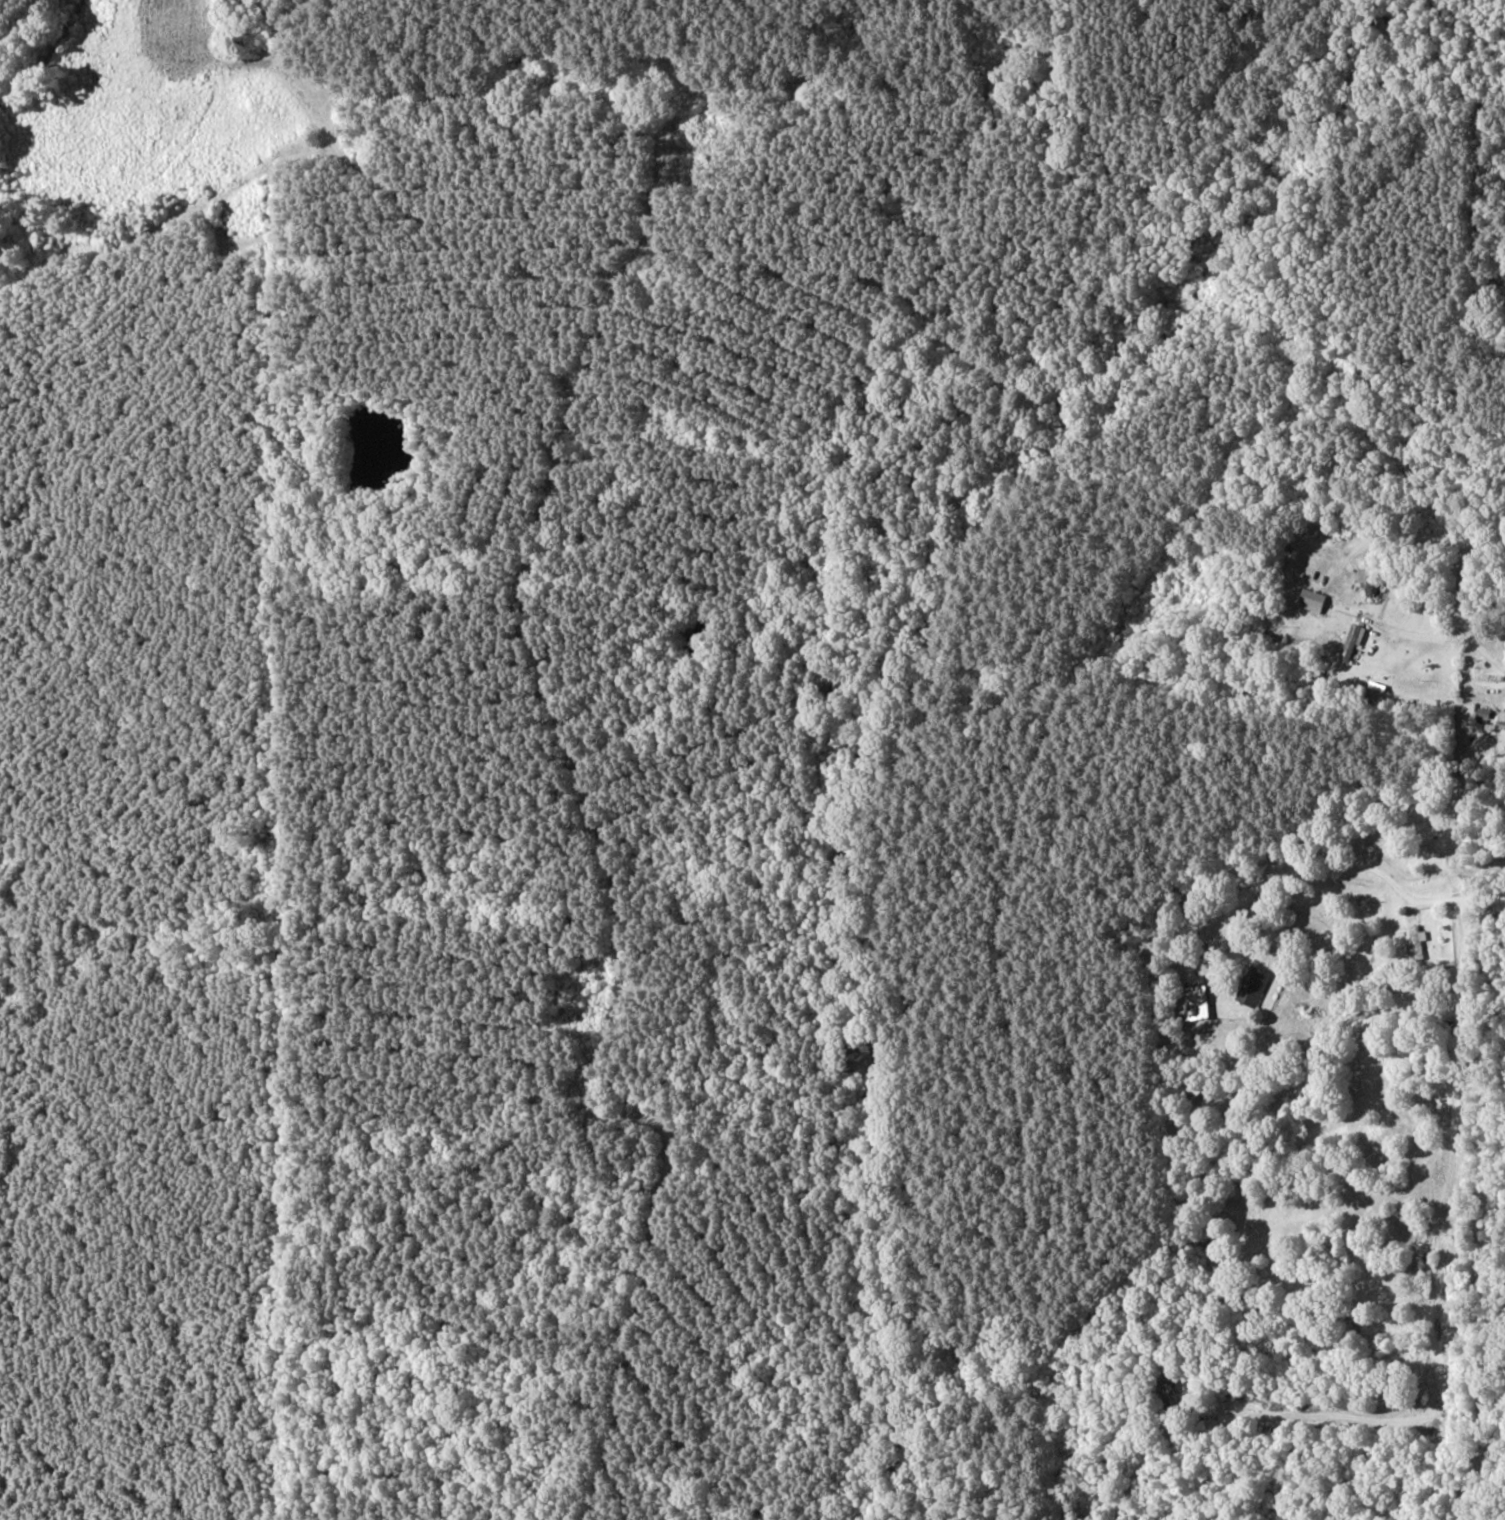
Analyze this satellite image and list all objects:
road: (1392, 533)
road: (1491, 540)
building: (1313, 600)
road: (1463, 610)
road: (1423, 637)
building: (1352, 642)
road: (1467, 672)
building: (1501, 720)
road: (1462, 898)
building: (1419, 940)
building: (1254, 986)
building: (1195, 1001)

